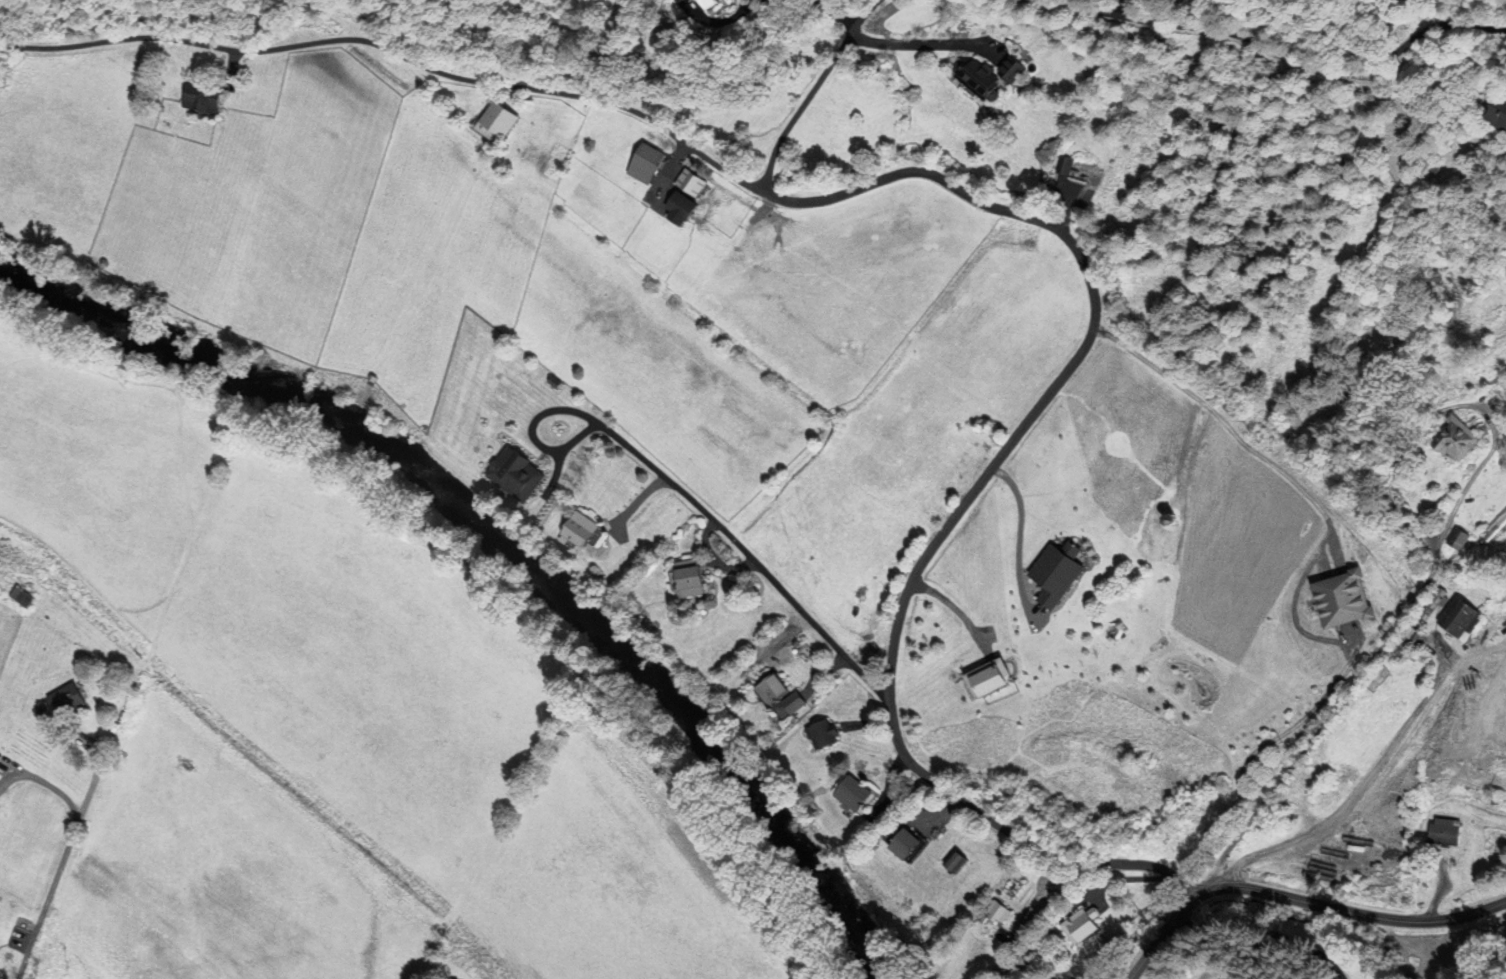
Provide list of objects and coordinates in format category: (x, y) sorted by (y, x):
building: (694, 0)
building: (710, 3)
road: (917, 43)
road: (1277, 49)
road: (395, 52)
building: (977, 78)
road: (811, 91)
building: (197, 98)
building: (1501, 111)
building: (494, 118)
building: (643, 164)
building: (1054, 164)
building: (685, 182)
building: (679, 206)
road: (1230, 430)
building: (1445, 441)
building: (514, 474)
road: (975, 489)
road: (687, 495)
building: (1494, 527)
building: (580, 530)
road: (1018, 538)
building: (1454, 542)
river: (492, 558)
building: (688, 578)
building: (24, 597)
building: (1457, 622)
road: (1378, 650)
building: (778, 693)
building: (67, 699)
building: (821, 735)
road: (44, 781)
road: (1359, 788)
building: (853, 794)
building: (1447, 833)
building: (907, 845)
road: (63, 855)
building: (954, 860)
road: (1298, 899)
building: (996, 911)
building: (1079, 928)
road: (1304, 935)

